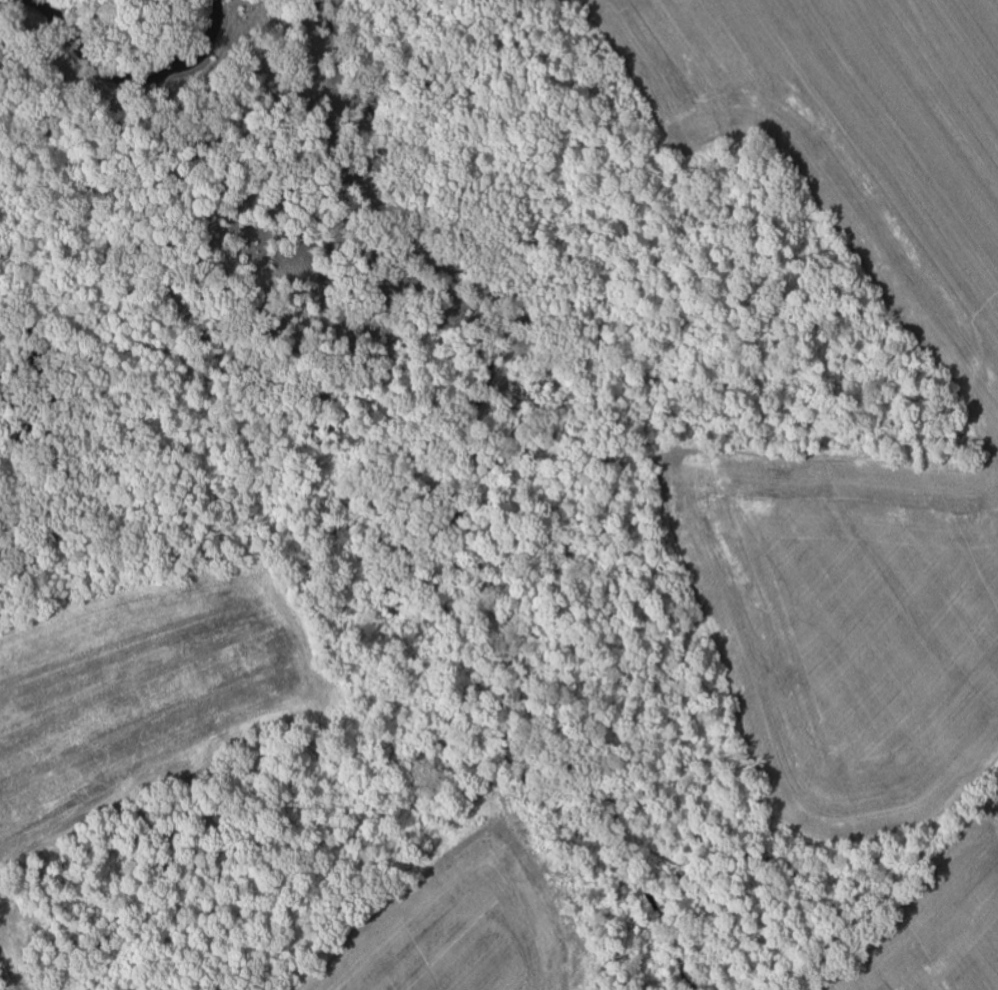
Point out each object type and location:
road: (914, 905)

